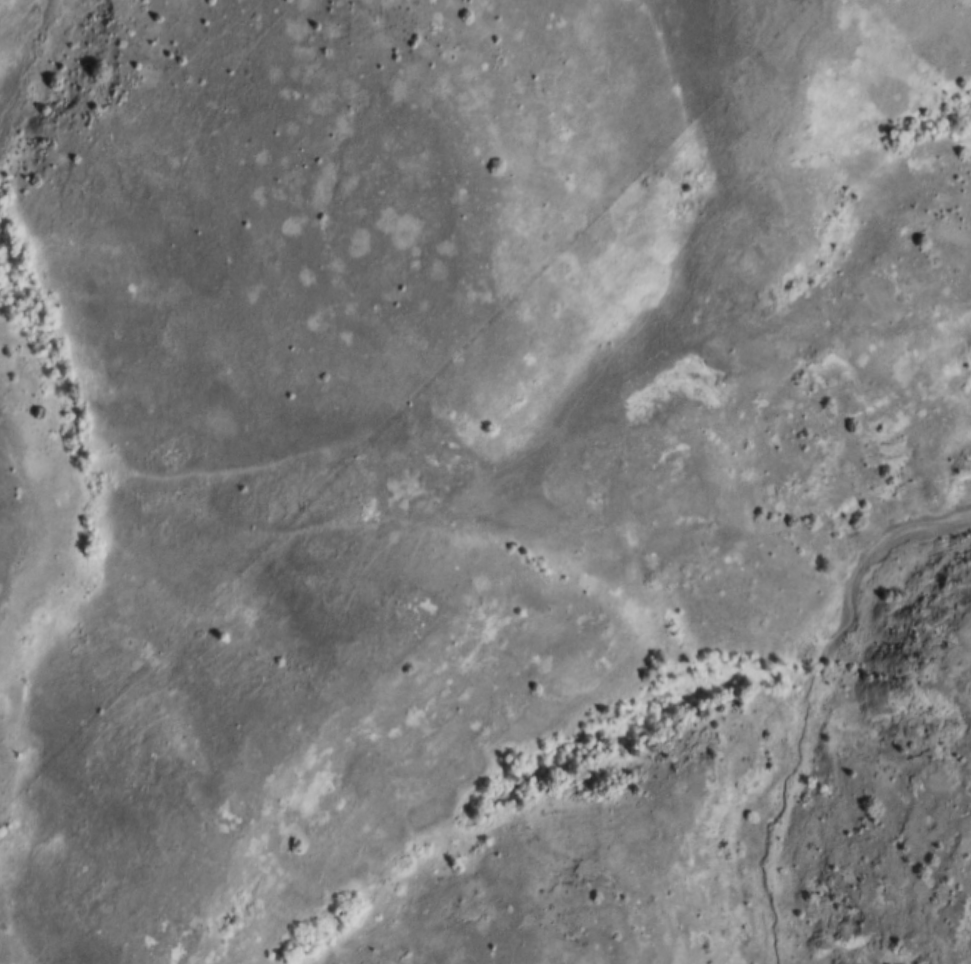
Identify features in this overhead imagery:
road: (17, 18)

